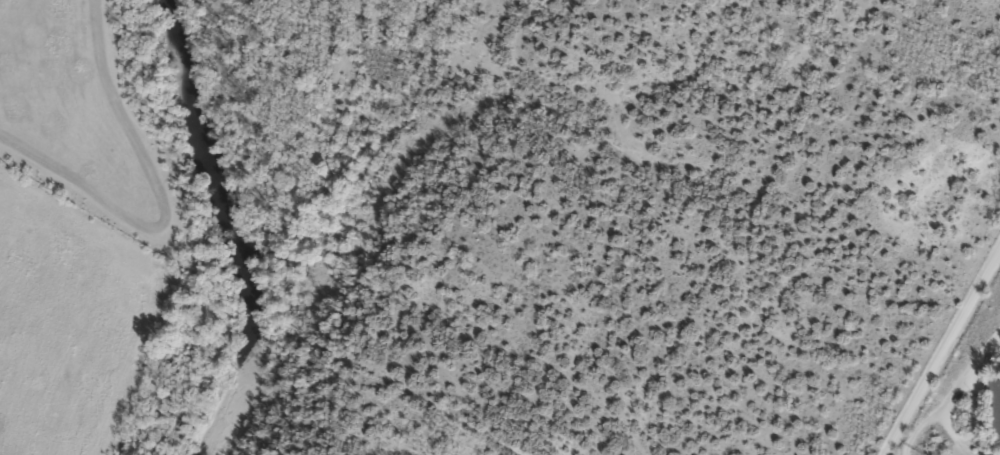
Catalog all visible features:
road: (788, 222)
road: (950, 368)
building: (995, 401)

